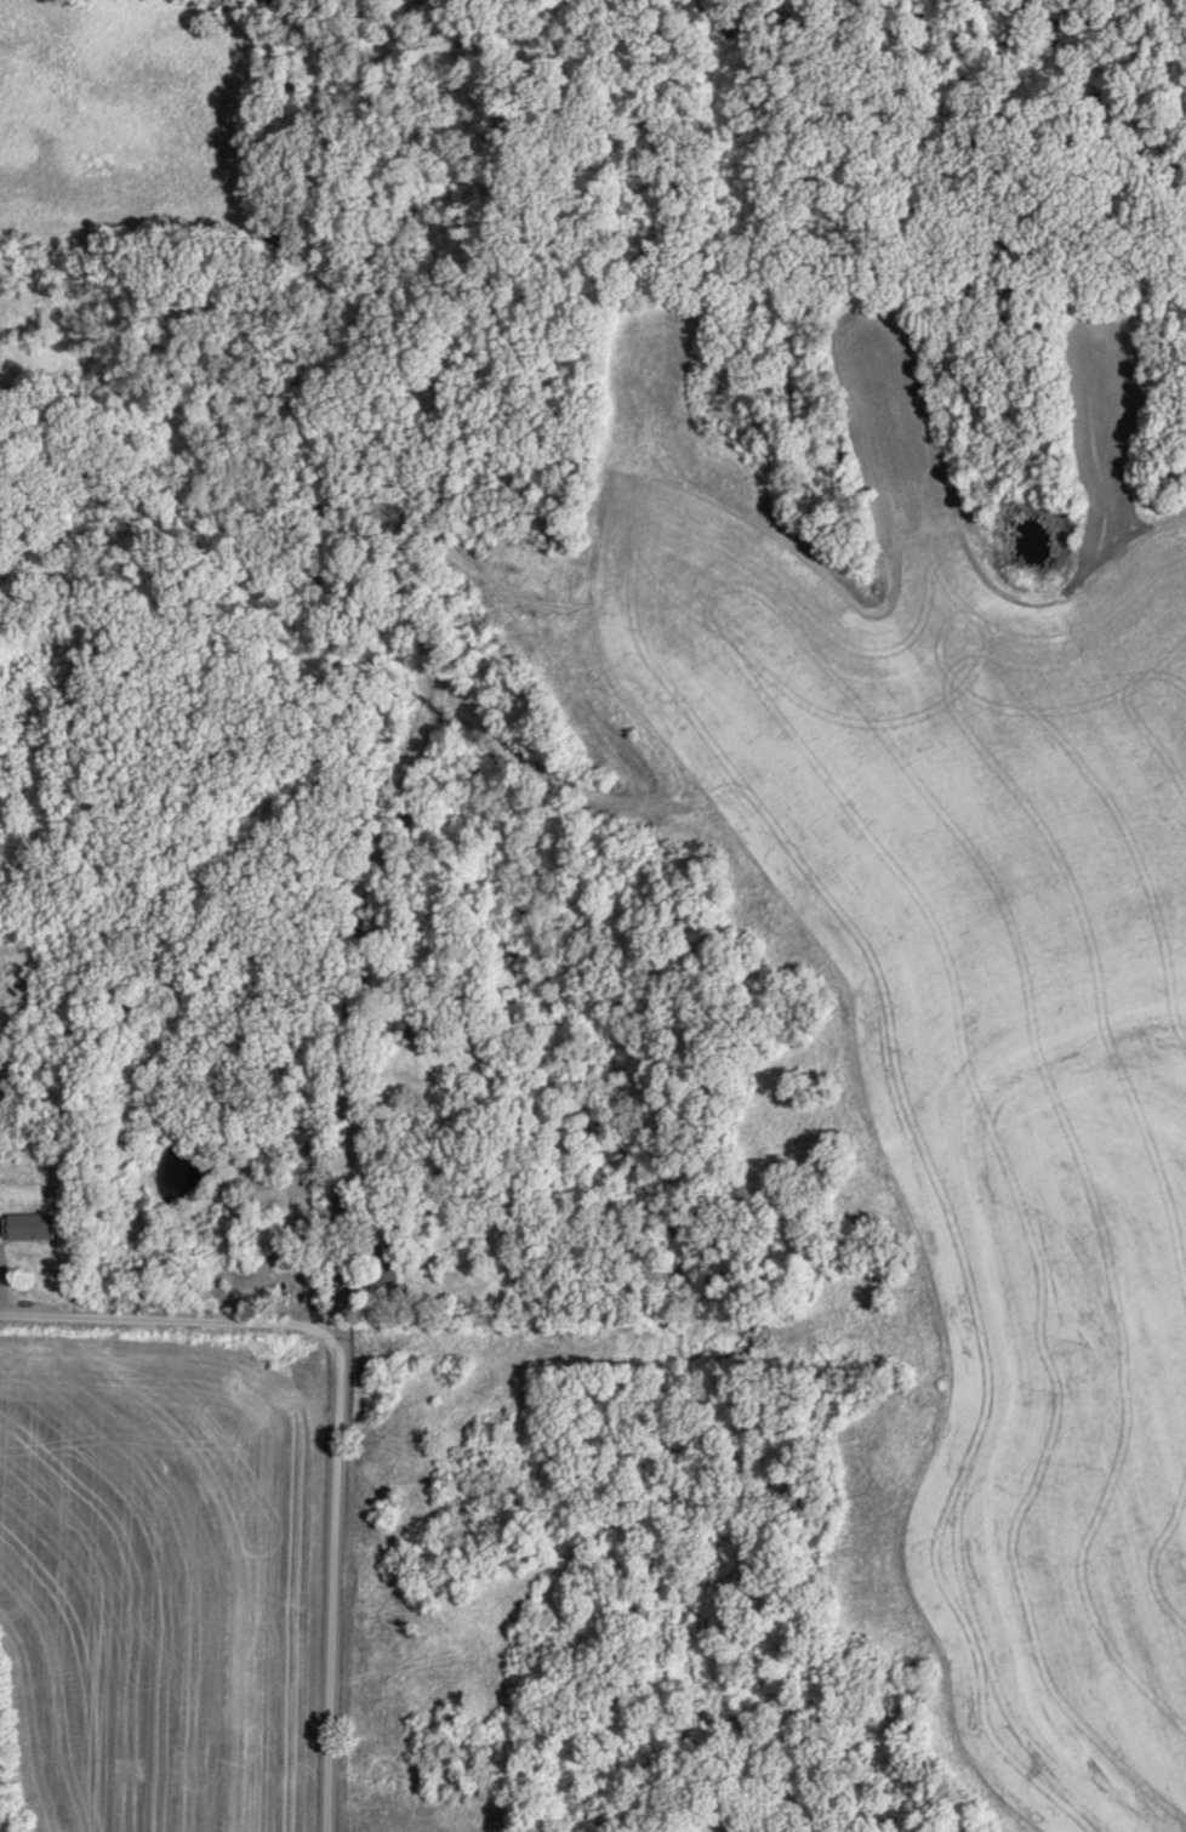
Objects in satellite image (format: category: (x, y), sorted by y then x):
crop: (929, 1015)
building: (28, 1227)
building: (393, 1274)
road: (63, 1318)
road: (335, 1480)

